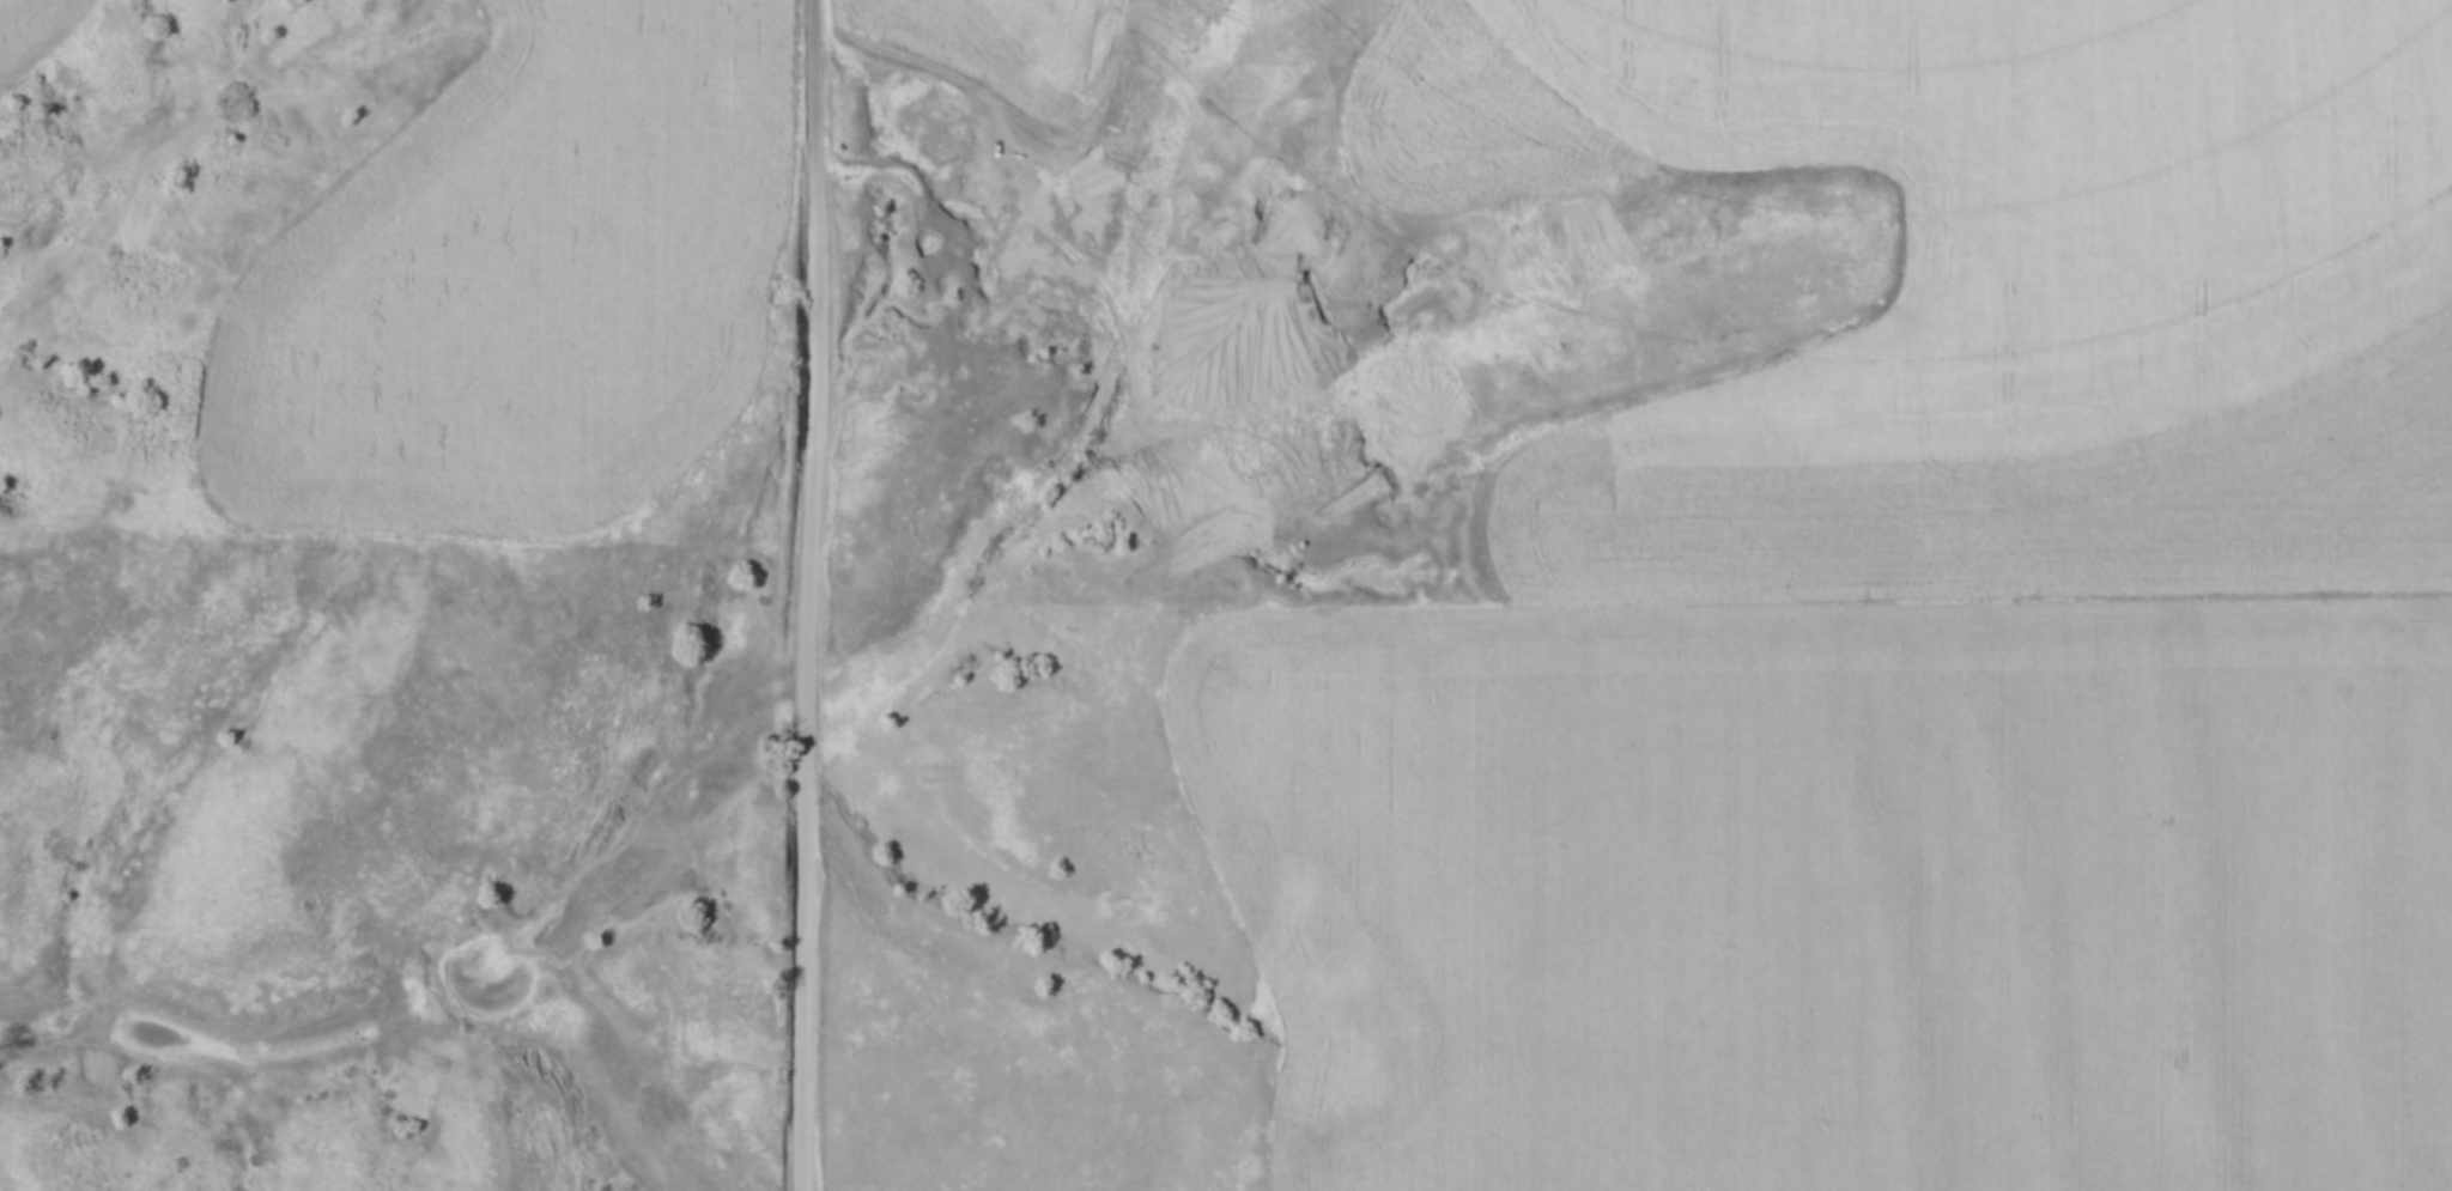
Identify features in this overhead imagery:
crop: (25, 29)
crop: (521, 284)
road: (813, 595)

